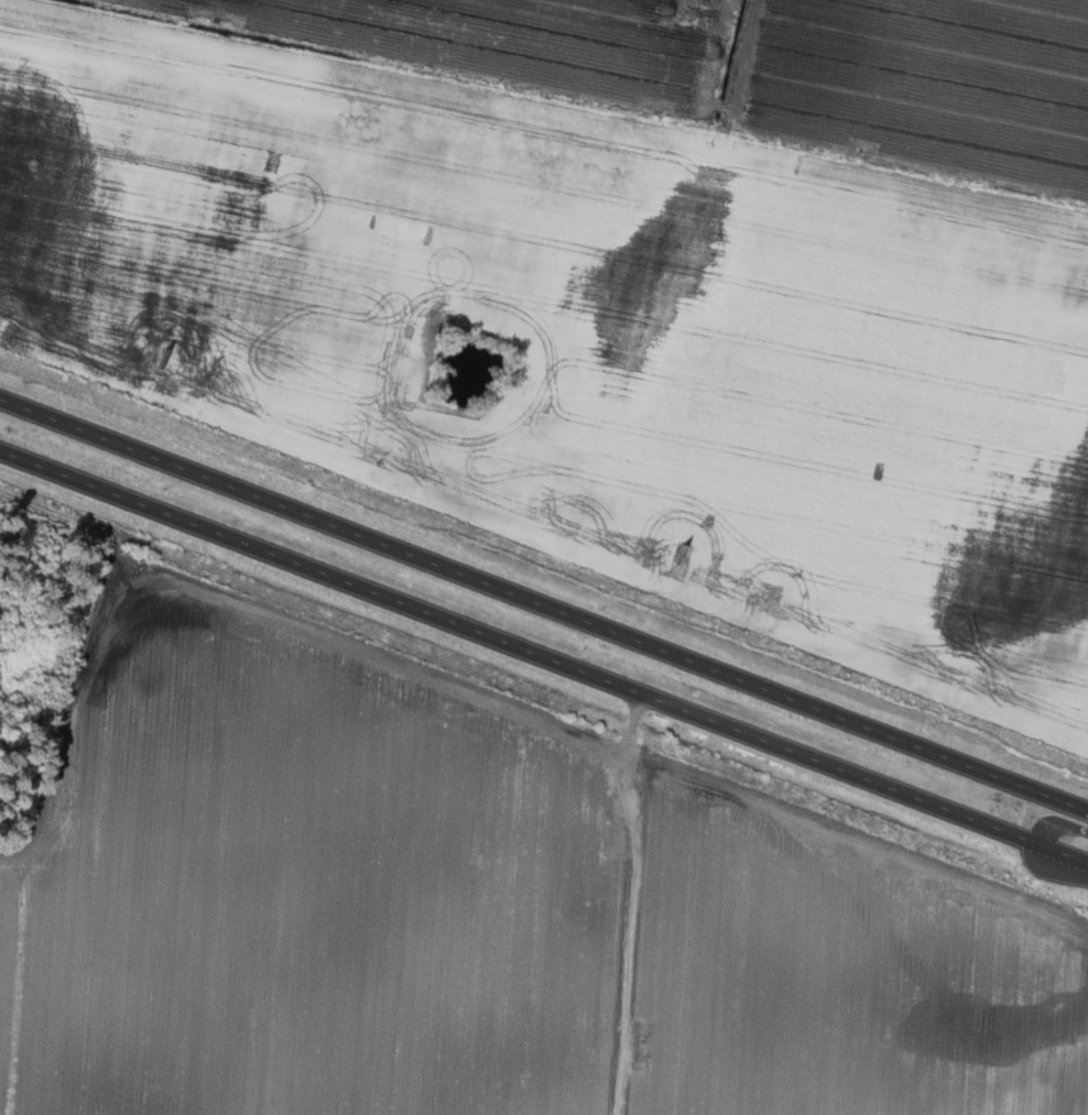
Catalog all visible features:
road: (544, 603)
road: (544, 654)
road: (1059, 824)
road: (623, 901)

